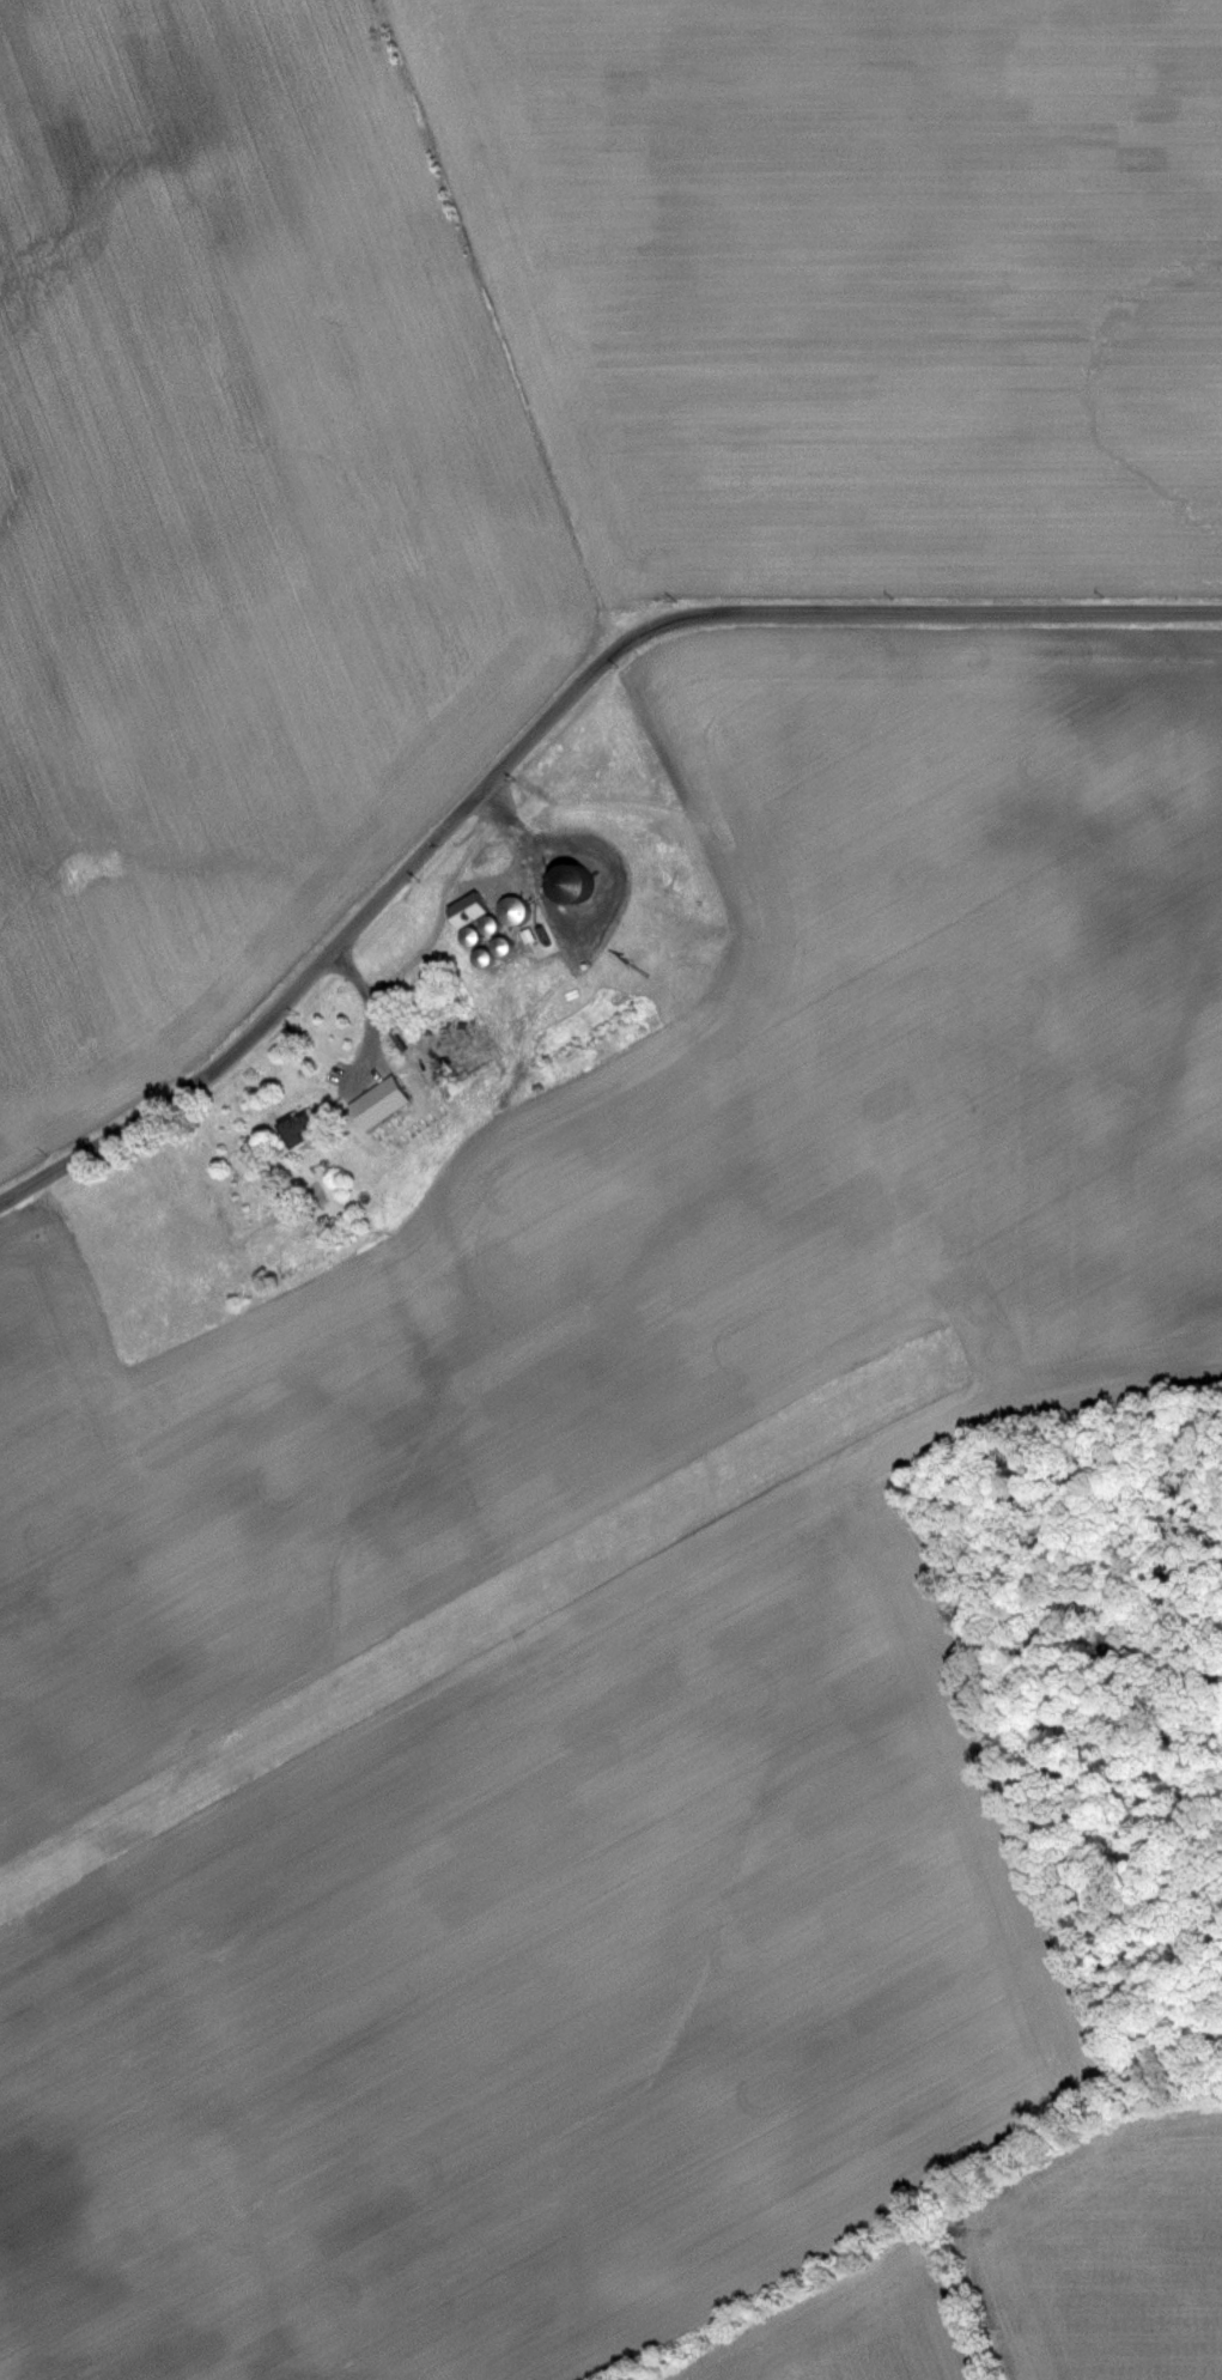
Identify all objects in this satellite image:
crop: (518, 423)
road: (539, 721)
building: (582, 882)
road: (448, 891)
building: (474, 909)
building: (519, 910)
building: (491, 957)
crop: (972, 963)
road: (370, 998)
building: (382, 1103)
building: (306, 1130)
crop: (491, 1784)

